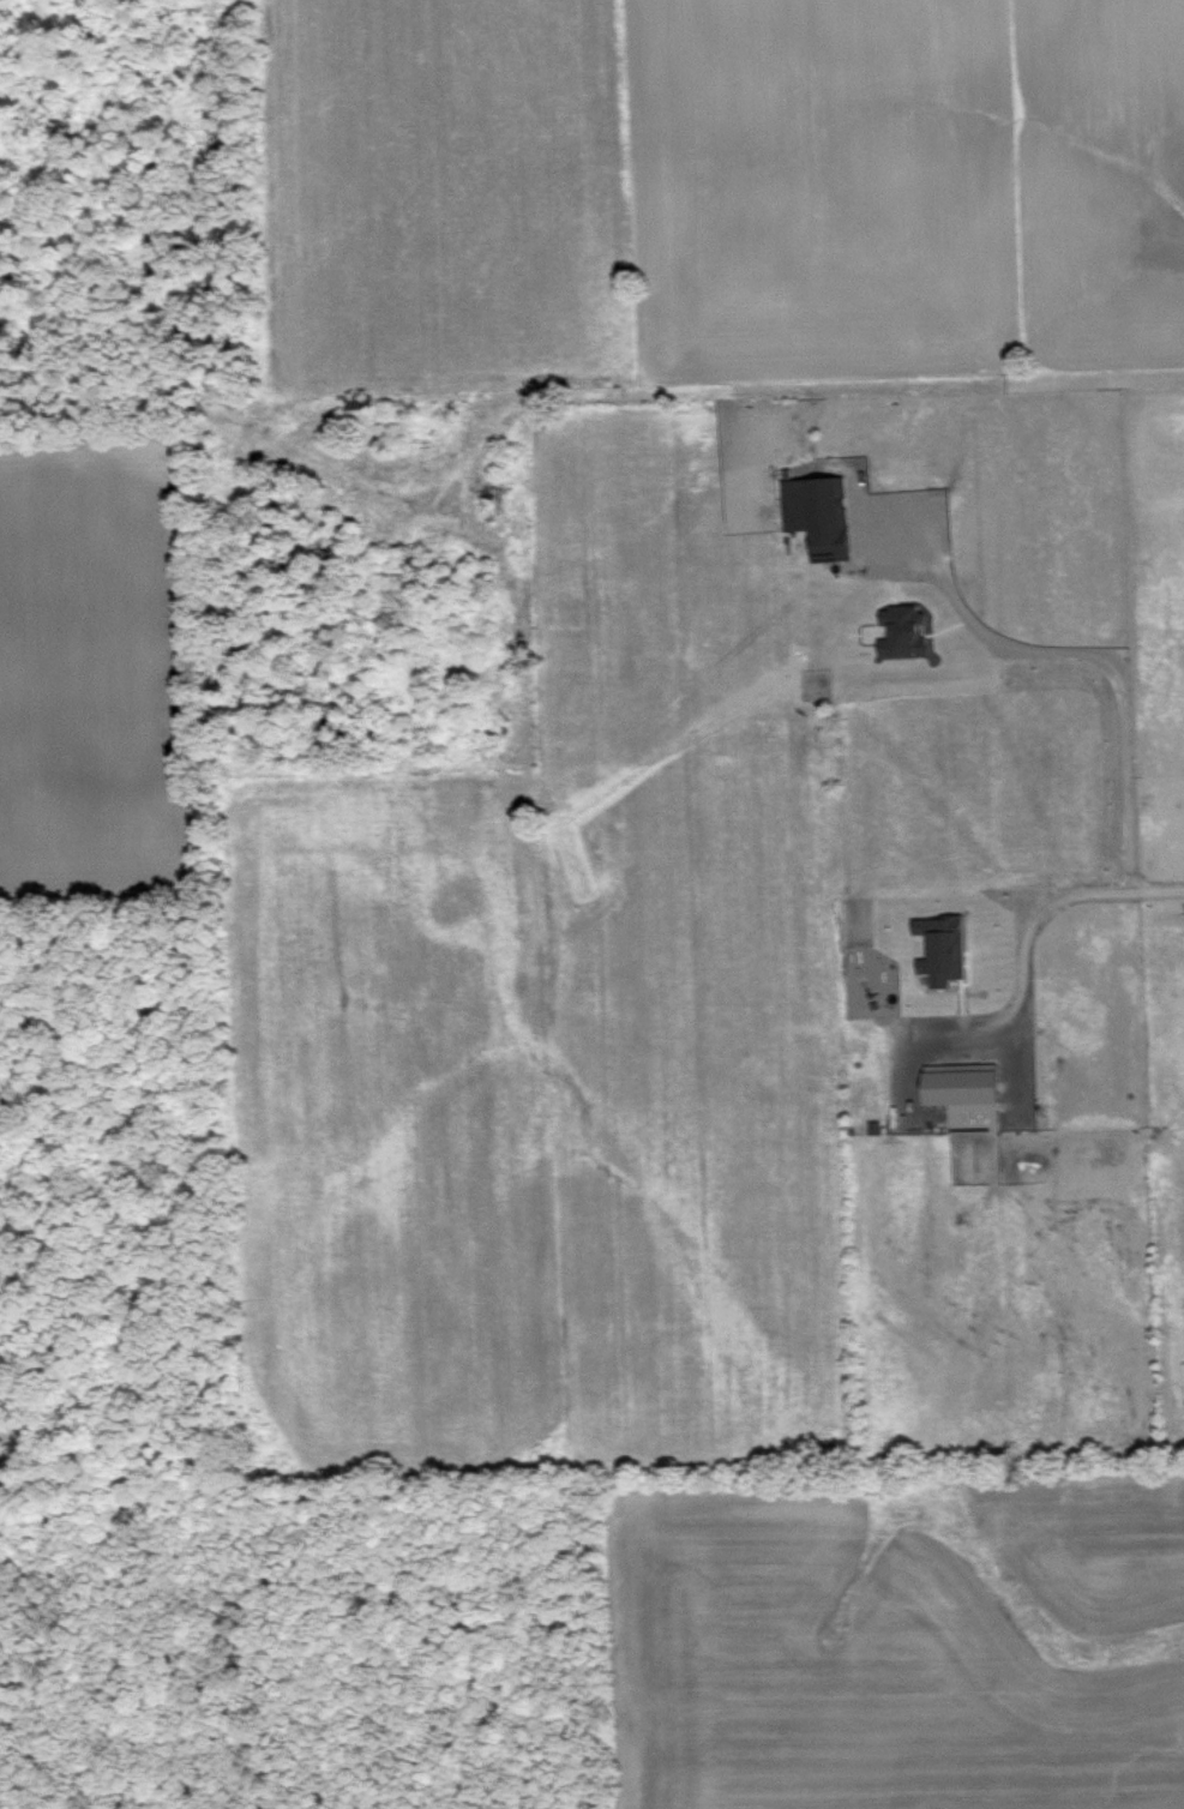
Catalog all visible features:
building: (822, 513)
building: (906, 630)
road: (1098, 657)
road: (1024, 933)
building: (945, 948)
building: (968, 1094)

